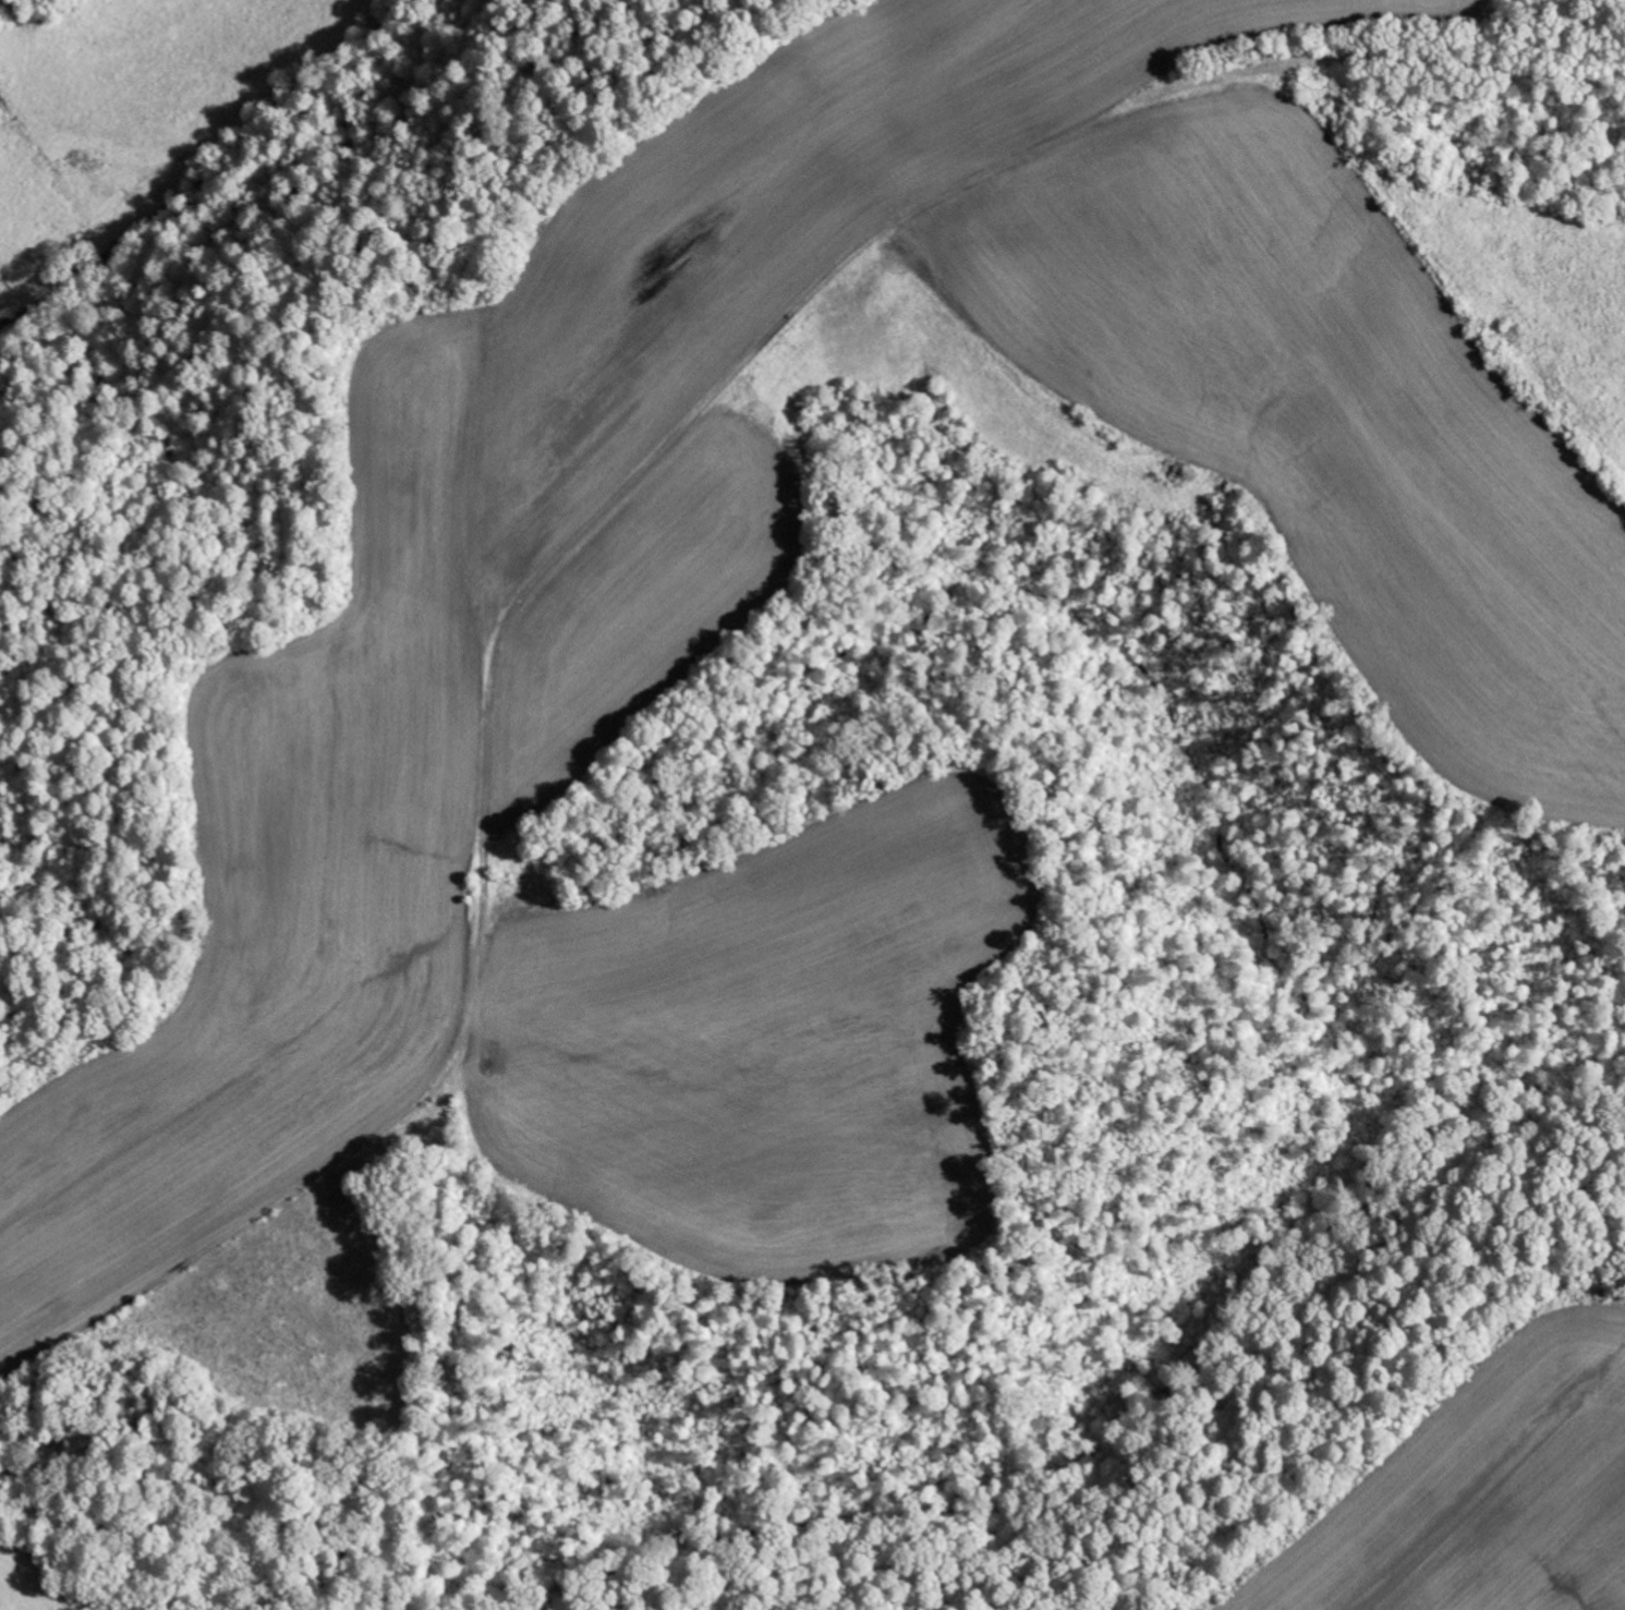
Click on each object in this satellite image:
road: (1620, 0)
road: (1499, 78)
road: (562, 547)

